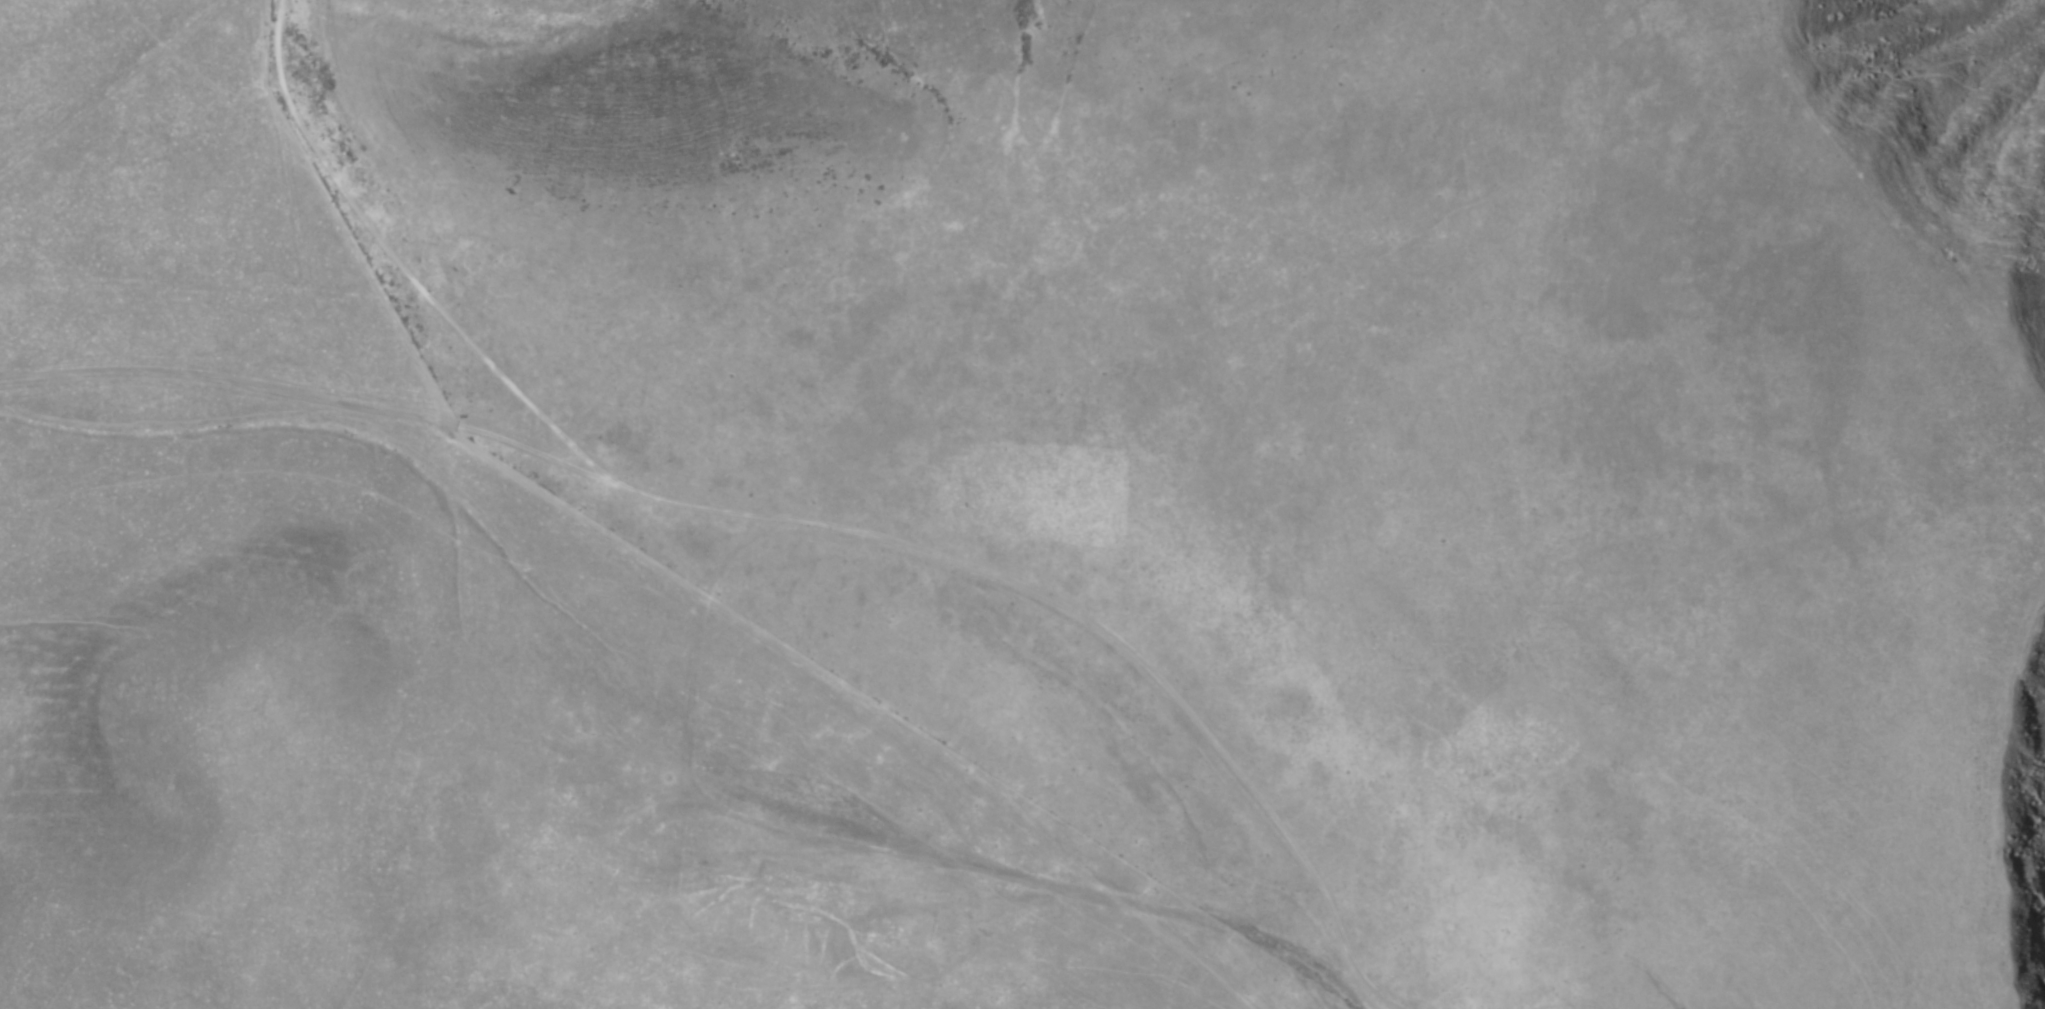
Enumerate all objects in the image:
road: (464, 332)

